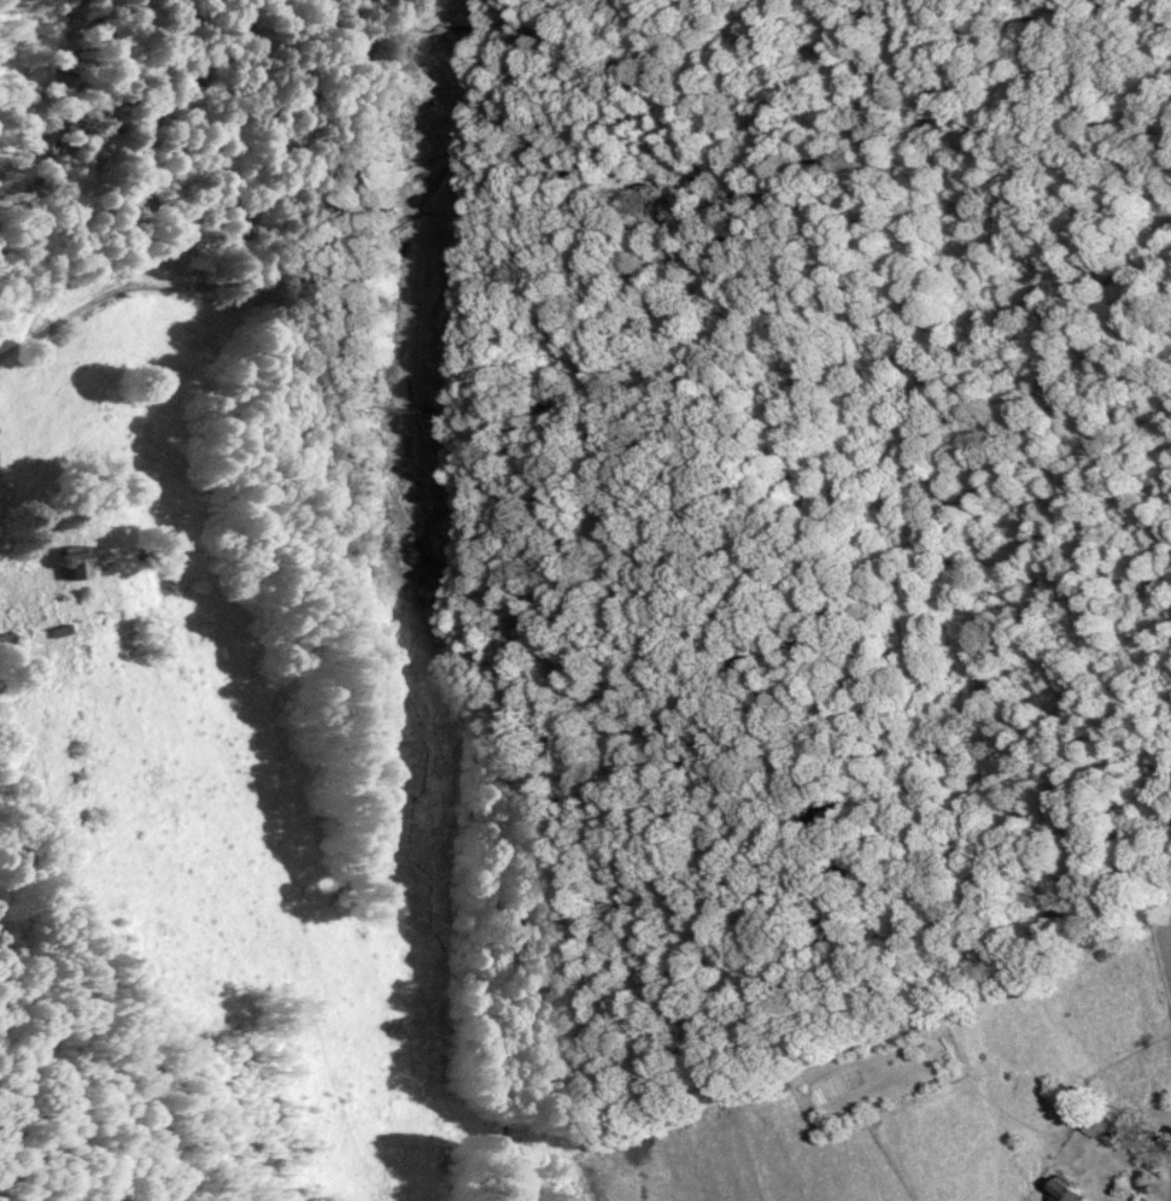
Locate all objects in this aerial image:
road: (311, 259)
building: (72, 560)

